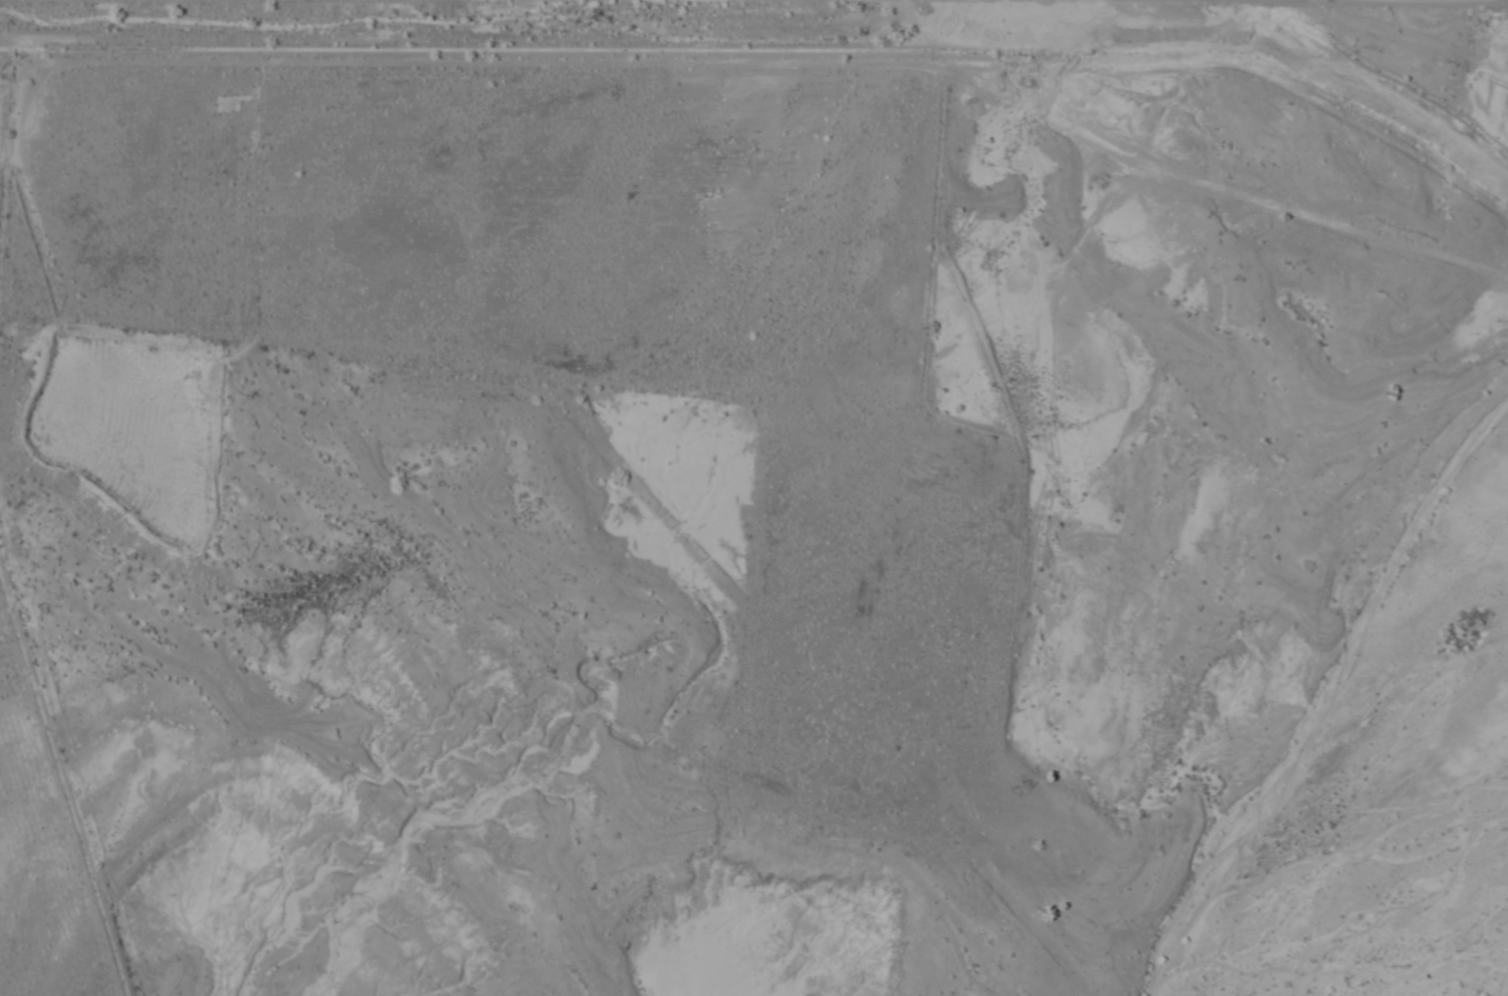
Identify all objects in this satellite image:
road: (1405, 69)

